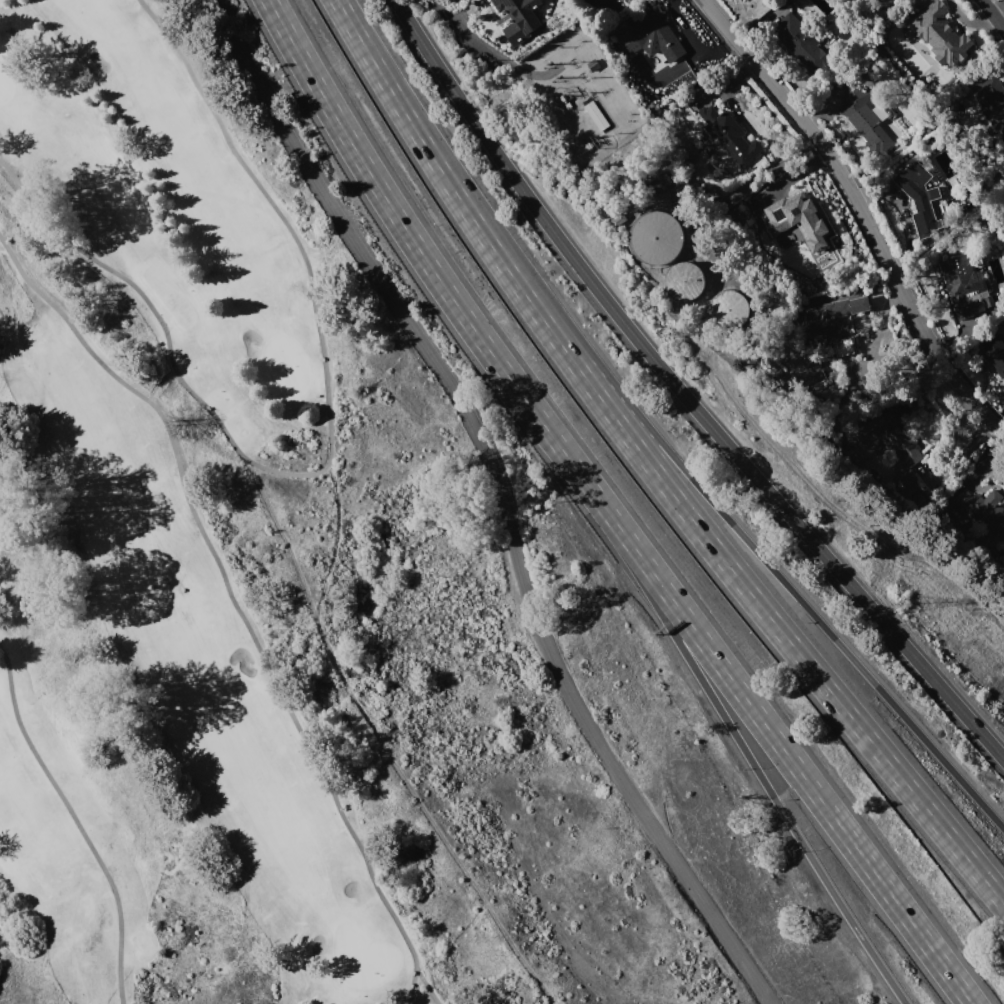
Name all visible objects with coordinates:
building: (742, 0)
road: (446, 11)
road: (994, 12)
building: (520, 19)
building: (941, 35)
building: (657, 36)
road: (693, 42)
building: (802, 42)
park: (5, 80)
building: (991, 100)
power tower: (502, 105)
building: (598, 115)
building: (865, 118)
building: (730, 134)
road: (428, 150)
building: (663, 182)
building: (920, 196)
road: (864, 212)
building: (621, 219)
building: (798, 232)
building: (658, 236)
water tower: (663, 239)
road: (424, 257)
building: (687, 280)
water tower: (691, 283)
building: (965, 286)
building: (732, 308)
water tower: (734, 314)
building: (833, 322)
power tower: (662, 332)
building: (995, 351)
park: (287, 365)
building: (804, 370)
road: (682, 392)
building: (893, 436)
road: (330, 449)
building: (908, 484)
road: (506, 497)
building: (987, 503)
park: (166, 543)
road: (767, 557)
road: (235, 602)
power tower: (903, 603)
road: (759, 604)
road: (785, 752)
road: (748, 755)
road: (77, 821)
park: (361, 958)

